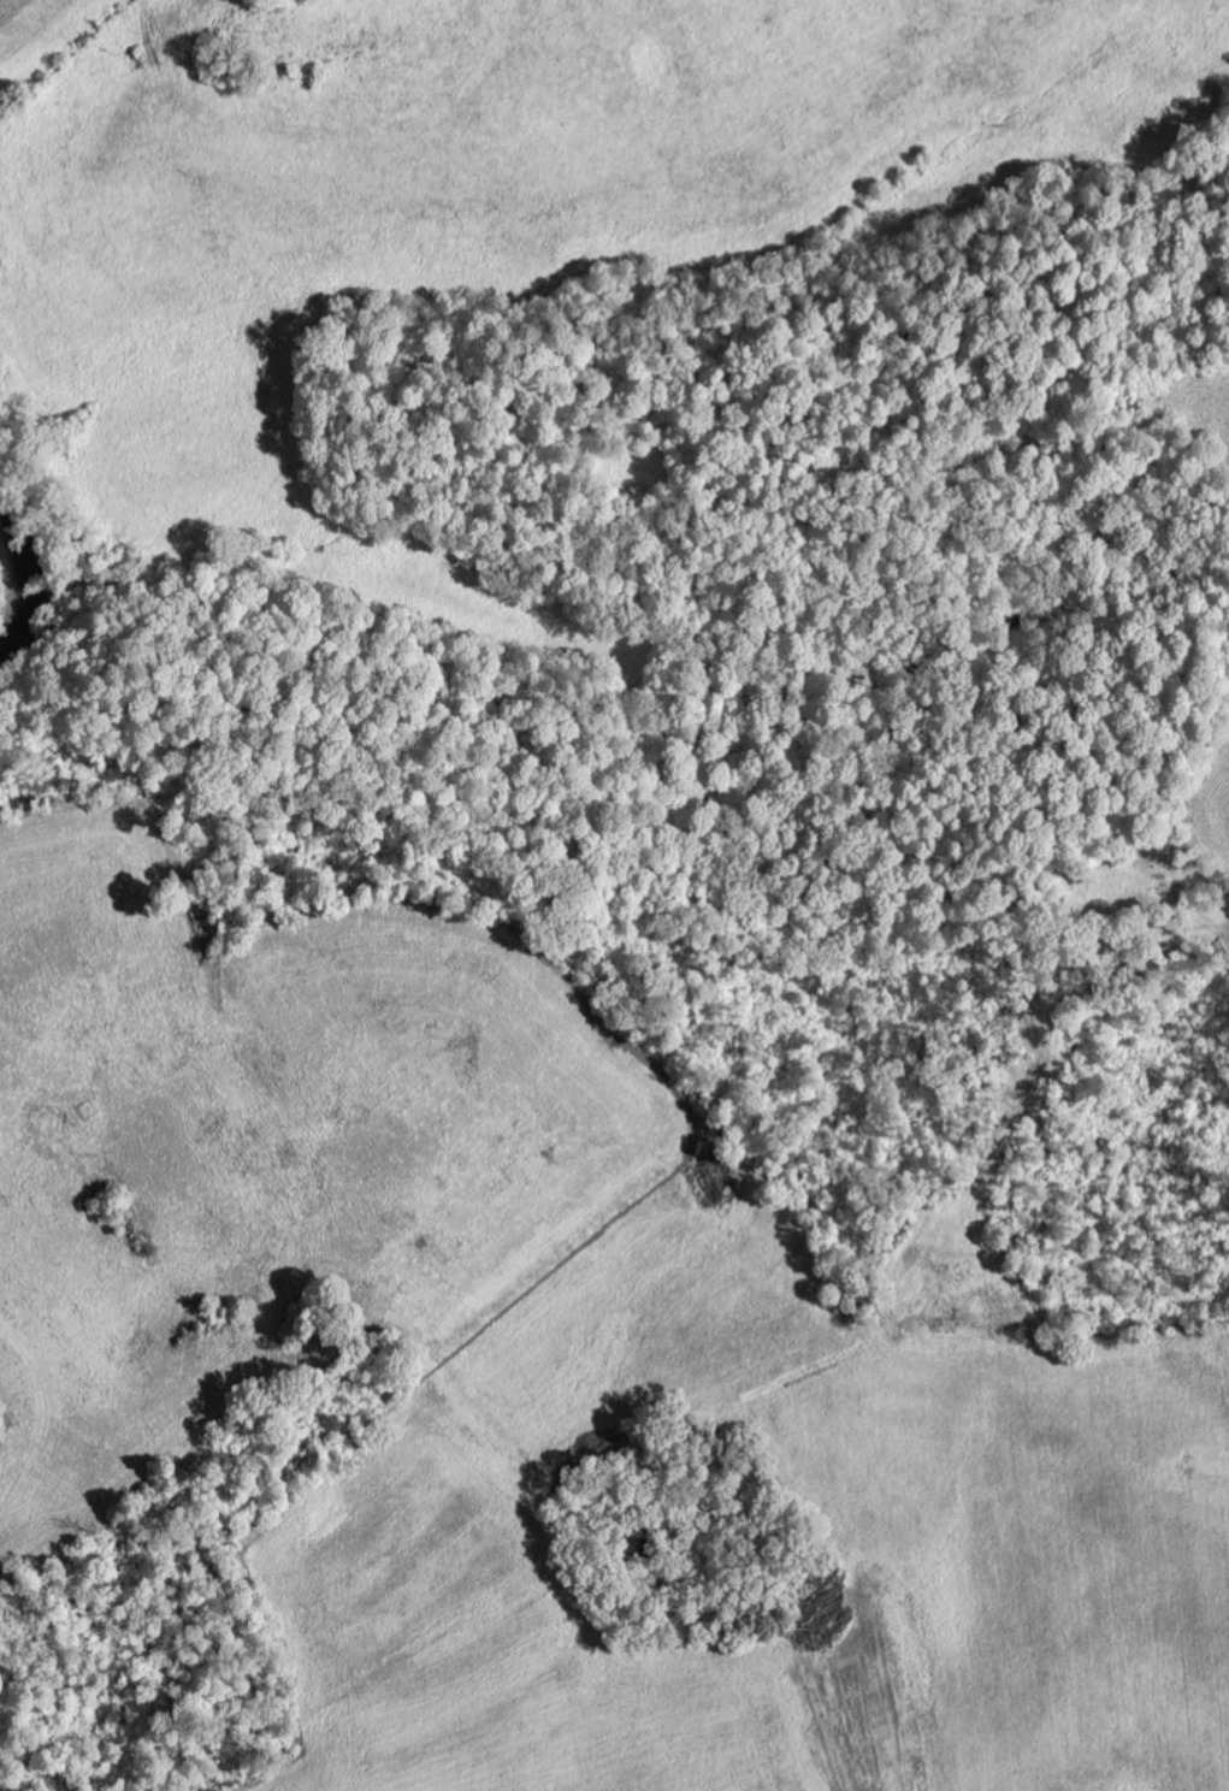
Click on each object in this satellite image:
road: (526, 1424)
road: (790, 1596)

